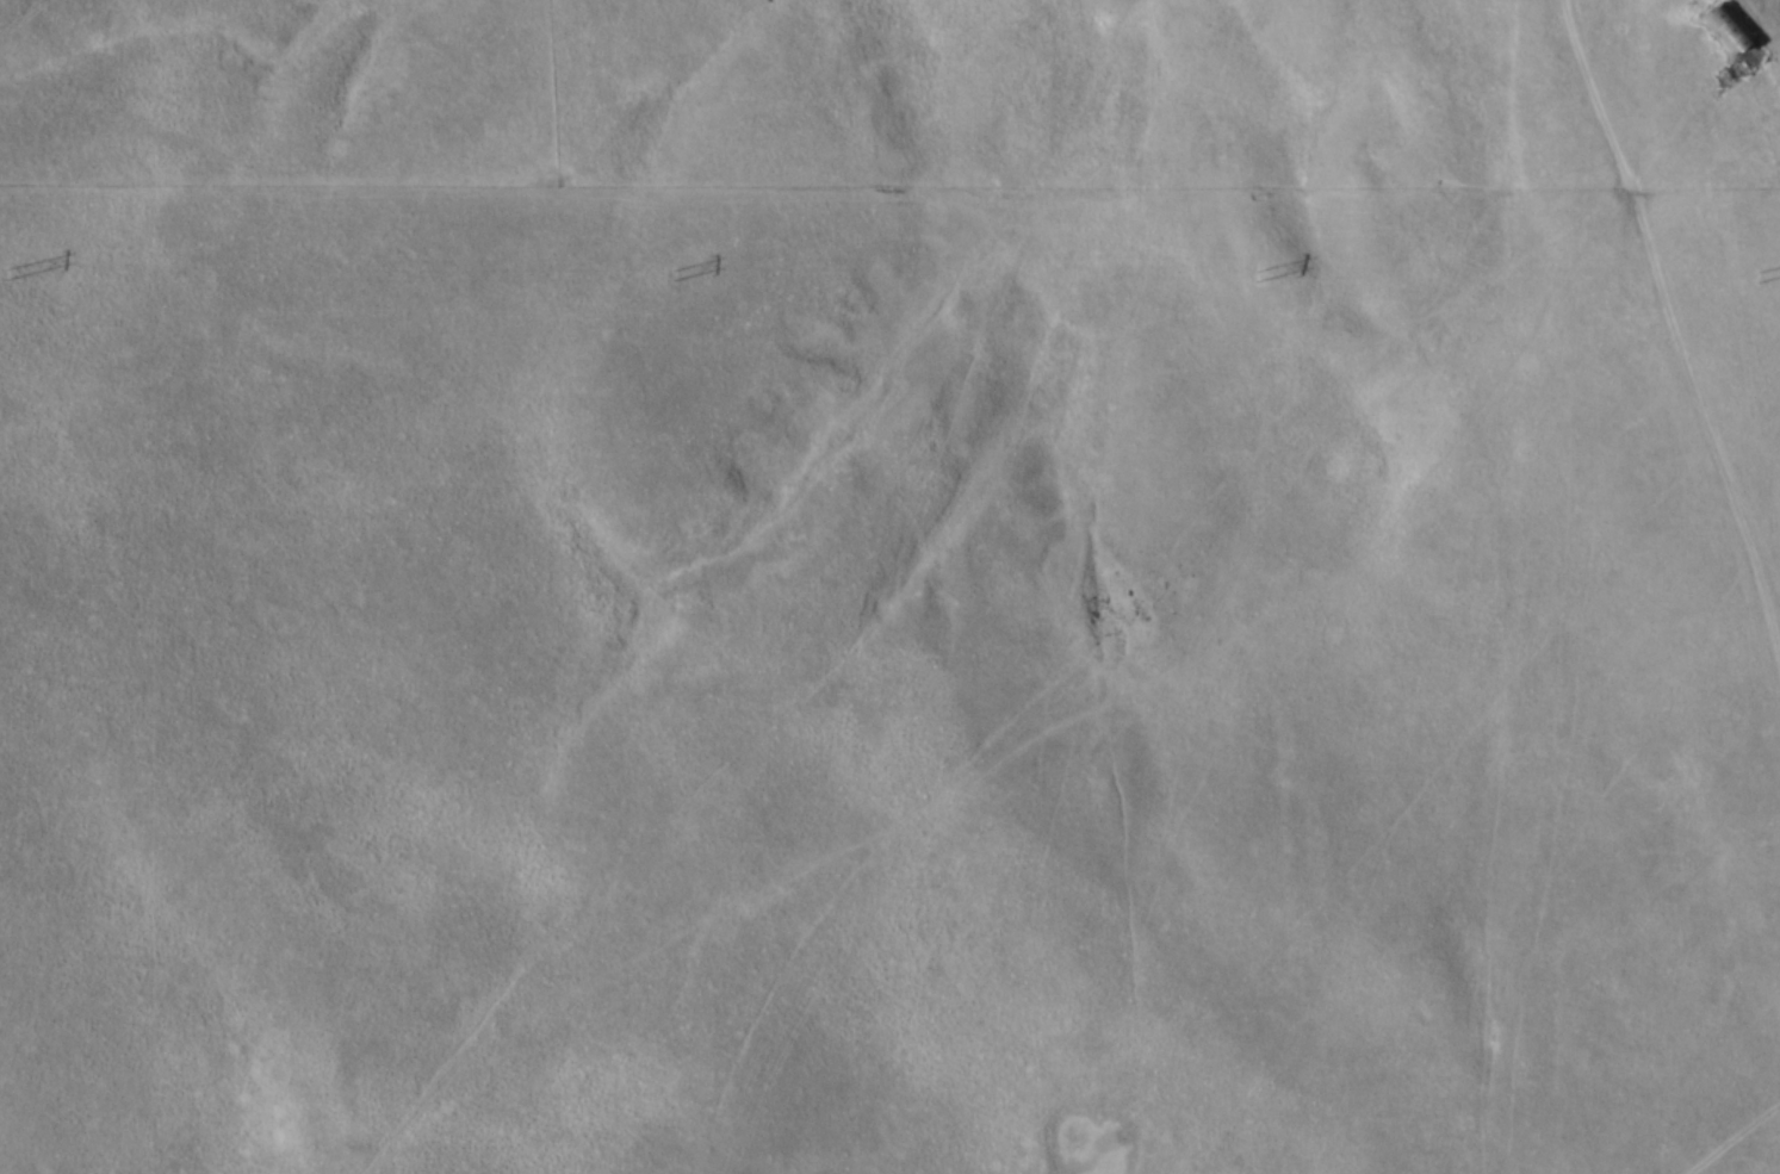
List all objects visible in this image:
building: (1737, 37)
power tower: (6, 277)
power tower: (672, 277)
power tower: (1257, 279)
power tower: (1757, 279)
road: (1657, 325)

